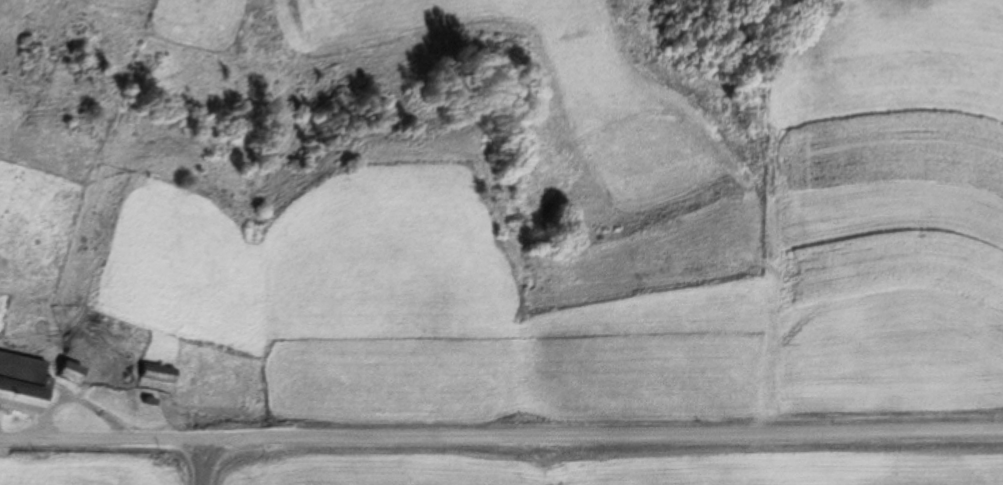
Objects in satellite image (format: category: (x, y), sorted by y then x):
building: (158, 374)
building: (22, 383)
road: (104, 475)
road: (659, 475)

